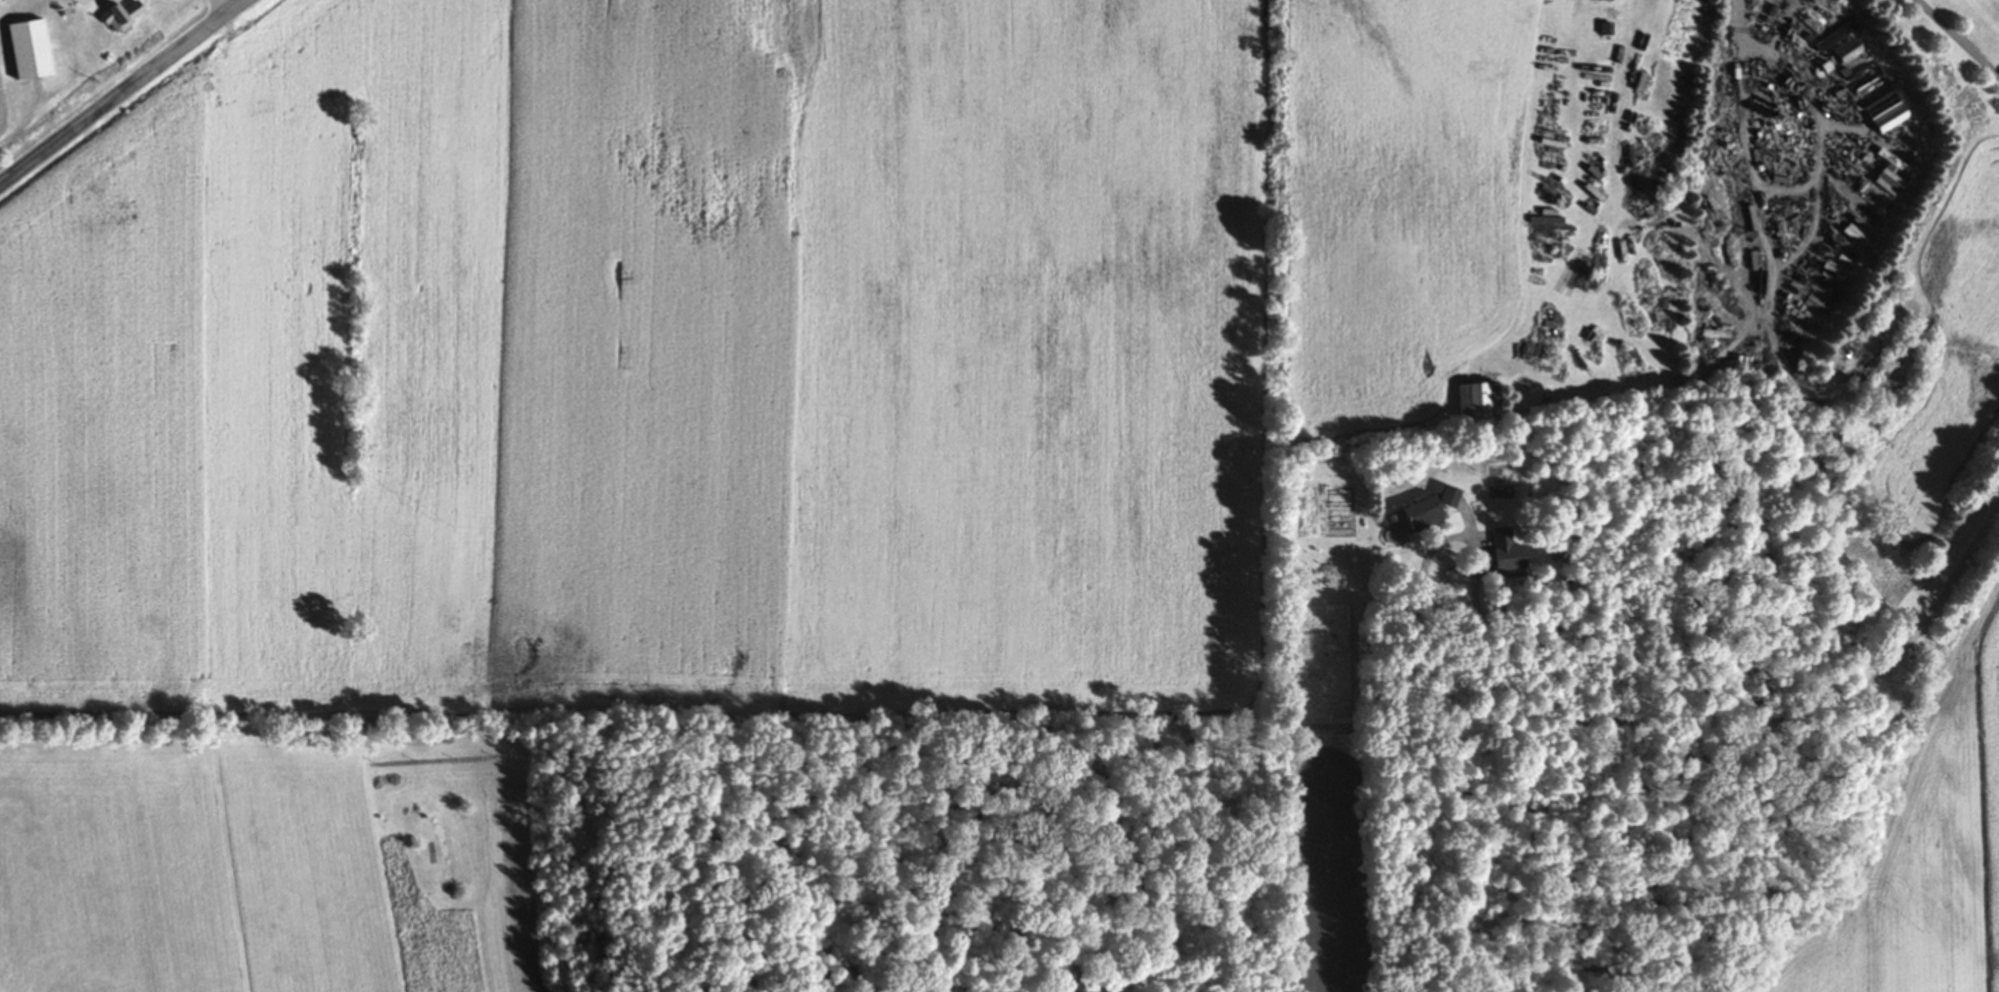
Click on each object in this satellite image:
road: (103, 0)
road: (222, 7)
building: (116, 17)
building: (1837, 39)
road: (1956, 40)
building: (23, 51)
road: (123, 94)
building: (1890, 119)
road: (1752, 145)
building: (1474, 401)
building: (1426, 510)
road: (1707, 716)

